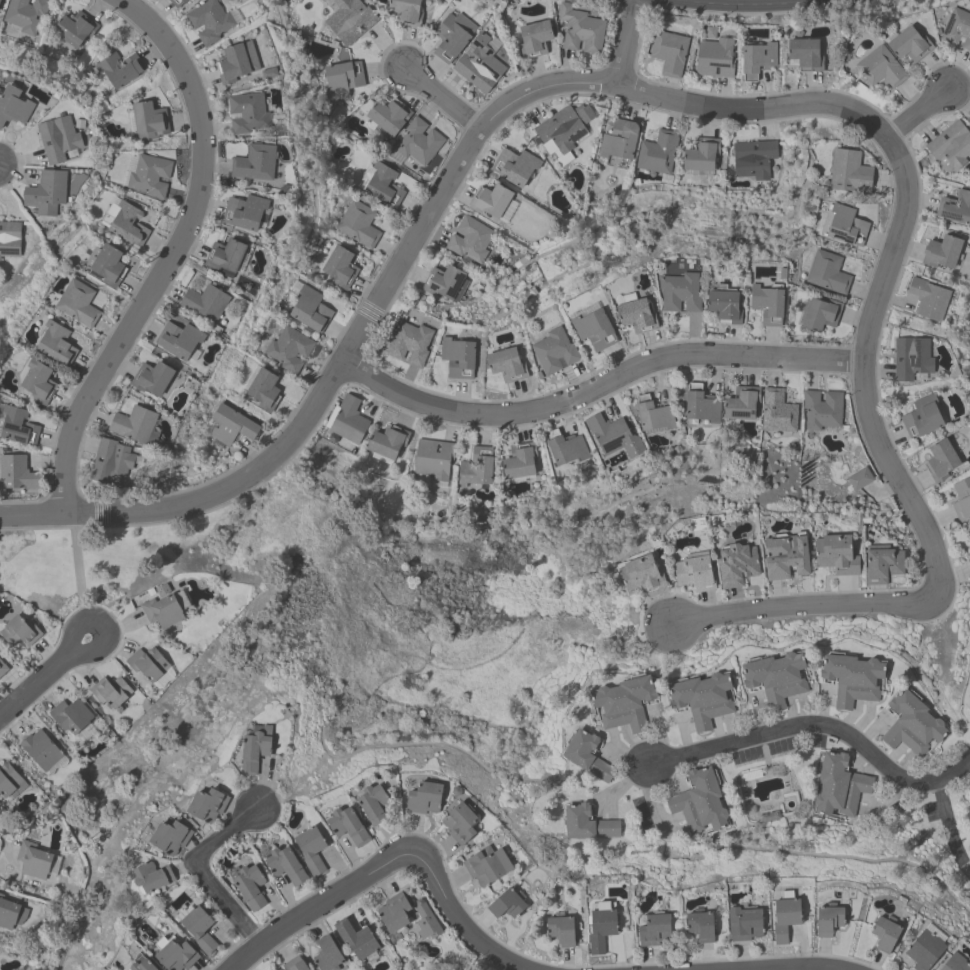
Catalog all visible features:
building: (0, 2)
building: (176, 3)
building: (406, 12)
building: (25, 14)
building: (349, 20)
building: (210, 22)
building: (74, 28)
building: (957, 29)
building: (581, 30)
building: (709, 33)
building: (452, 37)
building: (534, 39)
road: (624, 42)
building: (908, 45)
building: (669, 53)
building: (804, 55)
building: (714, 58)
building: (757, 61)
building: (231, 64)
building: (479, 65)
building: (879, 68)
building: (119, 69)
building: (342, 79)
road: (441, 97)
building: (13, 107)
building: (247, 113)
road: (916, 114)
building: (388, 116)
building: (149, 121)
building: (564, 127)
building: (57, 139)
building: (619, 140)
building: (418, 142)
building: (949, 146)
building: (657, 152)
building: (701, 155)
building: (752, 158)
building: (254, 164)
building: (514, 167)
road: (902, 171)
building: (849, 172)
building: (149, 175)
building: (380, 185)
building: (46, 192)
building: (490, 201)
building: (955, 209)
building: (245, 213)
building: (358, 224)
building: (128, 225)
building: (846, 226)
building: (9, 238)
building: (470, 239)
road: (172, 252)
building: (940, 253)
building: (225, 258)
building: (105, 265)
building: (339, 267)
building: (827, 273)
building: (445, 283)
building: (679, 293)
building: (928, 299)
building: (205, 303)
building: (78, 304)
building: (767, 304)
building: (724, 306)
building: (310, 309)
building: (635, 315)
building: (820, 315)
building: (592, 328)
building: (178, 340)
building: (410, 343)
building: (56, 344)
building: (289, 349)
building: (554, 353)
building: (457, 358)
building: (911, 358)
building: (506, 365)
building: (152, 379)
building: (36, 381)
building: (263, 389)
building: (741, 404)
building: (701, 405)
building: (822, 410)
building: (777, 411)
building: (652, 415)
building: (922, 418)
building: (348, 420)
building: (135, 426)
building: (231, 426)
building: (17, 427)
building: (613, 436)
building: (387, 442)
building: (565, 447)
building: (433, 459)
building: (519, 461)
building: (940, 461)
building: (111, 463)
building: (476, 468)
building: (16, 473)
road: (200, 498)
building: (961, 498)
building: (968, 532)
building: (835, 557)
building: (785, 558)
building: (968, 558)
road: (78, 564)
building: (881, 565)
building: (736, 566)
building: (694, 574)
building: (641, 578)
road: (925, 600)
building: (164, 607)
building: (19, 631)
road: (104, 646)
building: (147, 664)
building: (2, 668)
building: (774, 680)
building: (851, 681)
road: (36, 682)
building: (110, 692)
building: (701, 700)
building: (624, 704)
building: (70, 716)
road: (820, 724)
building: (911, 726)
building: (40, 750)
building: (255, 751)
building: (586, 756)
building: (9, 782)
building: (838, 787)
building: (424, 795)
building: (207, 802)
building: (373, 802)
building: (699, 802)
building: (769, 815)
building: (459, 822)
building: (347, 823)
building: (586, 823)
road: (947, 823)
building: (170, 834)
road: (3, 836)
building: (311, 848)
building: (33, 859)
road: (389, 861)
building: (285, 864)
building: (486, 865)
road: (201, 873)
building: (151, 875)
building: (248, 884)
building: (507, 905)
building: (393, 911)
building: (11, 913)
building: (785, 914)
building: (828, 918)
building: (425, 921)
building: (744, 921)
building: (700, 923)
building: (197, 926)
building: (600, 928)
building: (655, 929)
building: (560, 930)
building: (885, 931)
building: (356, 938)
building: (924, 948)
building: (174, 953)
building: (327, 954)
building: (955, 963)
building: (141, 964)
building: (294, 964)
road: (798, 968)

